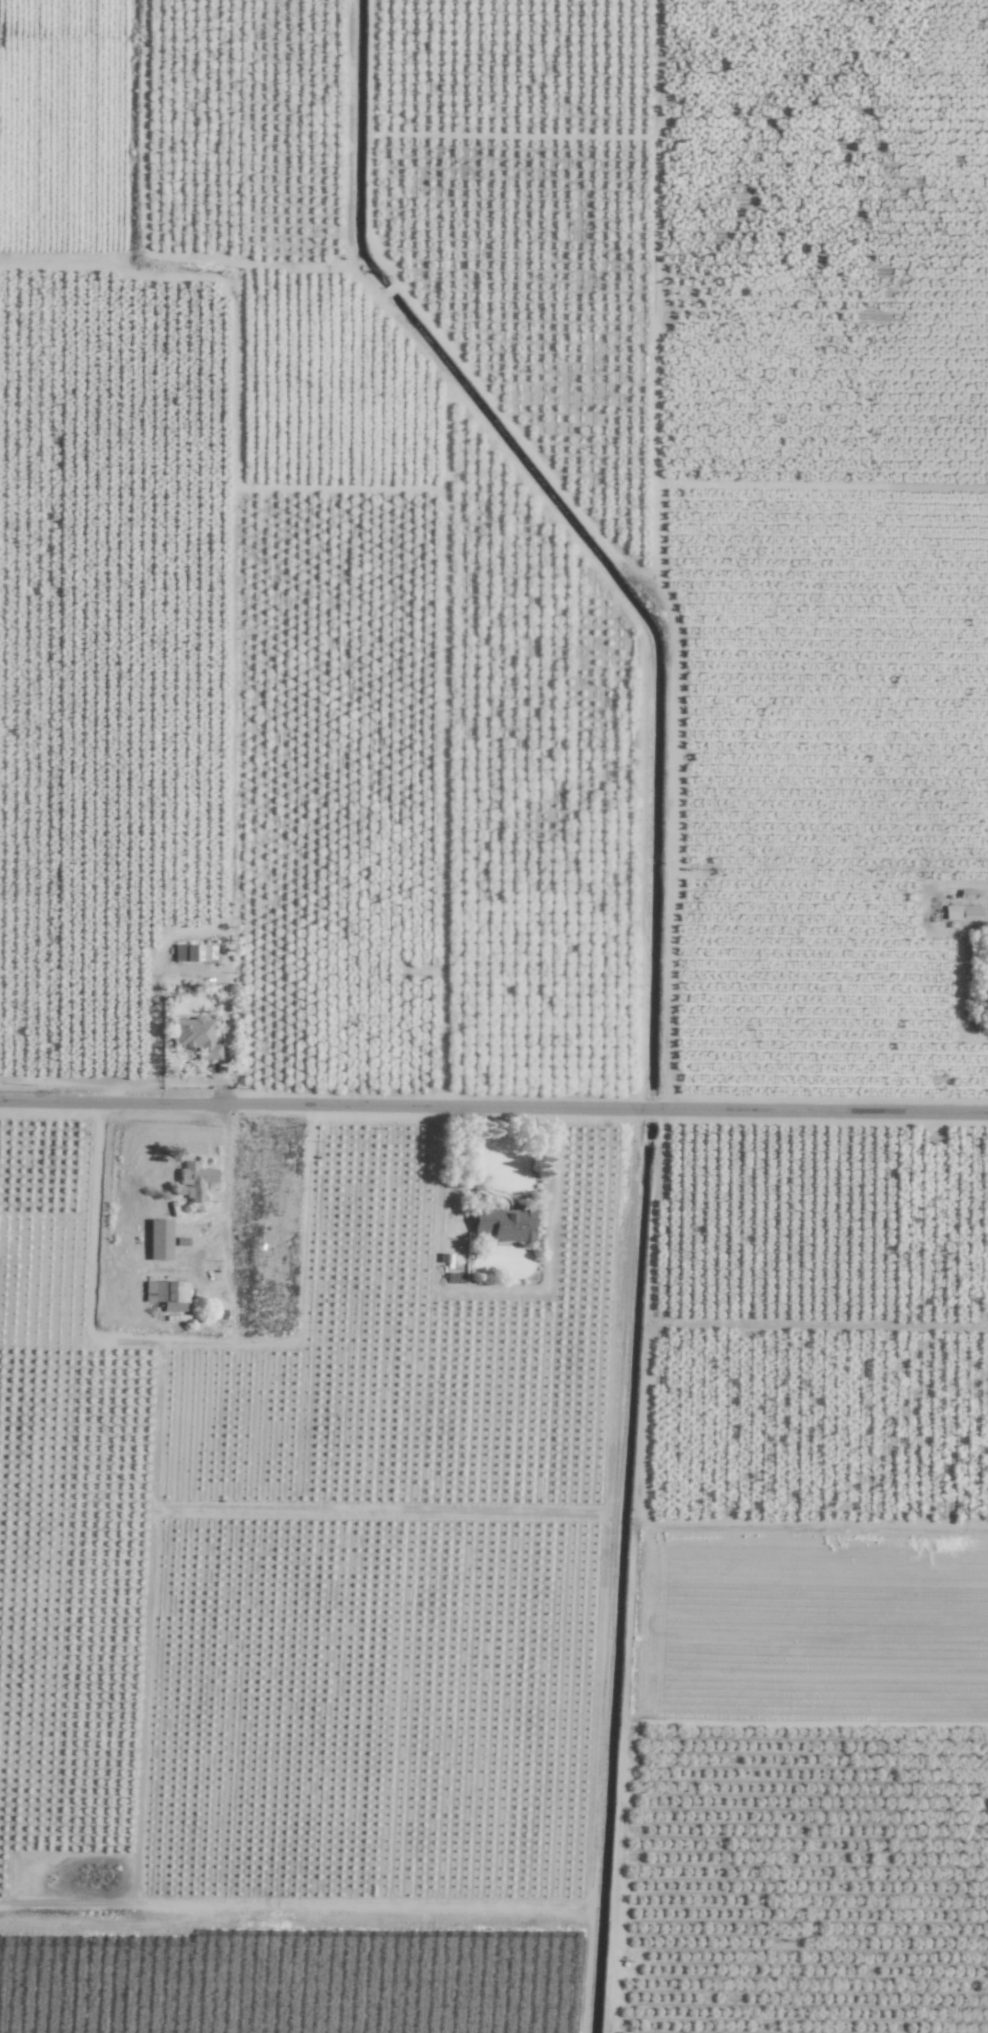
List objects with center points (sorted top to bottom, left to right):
road: (167, 269)
building: (962, 913)
building: (186, 953)
building: (195, 1037)
road: (493, 1117)
road: (452, 1168)
building: (195, 1180)
road: (223, 1194)
building: (506, 1225)
building: (160, 1239)
building: (165, 1291)
road: (199, 1337)
road: (299, 1509)
road: (607, 1575)

